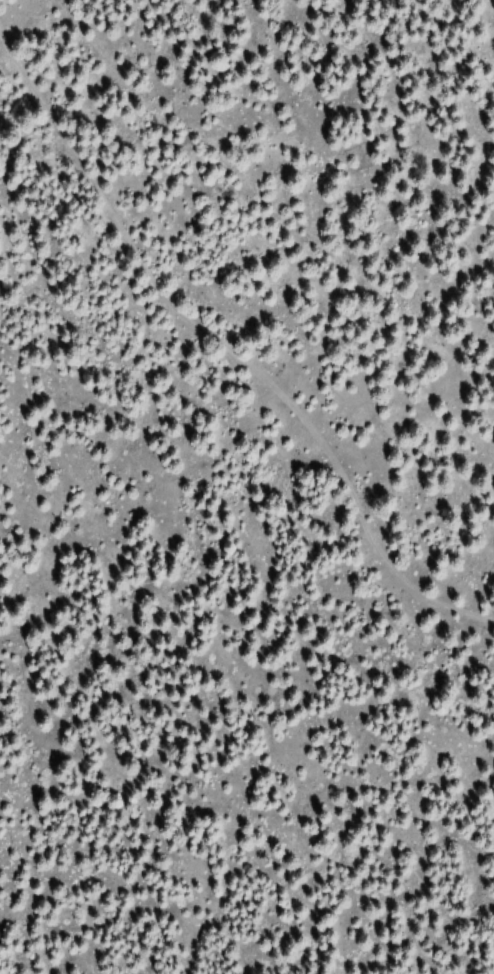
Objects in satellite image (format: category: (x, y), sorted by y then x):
road: (227, 346)

